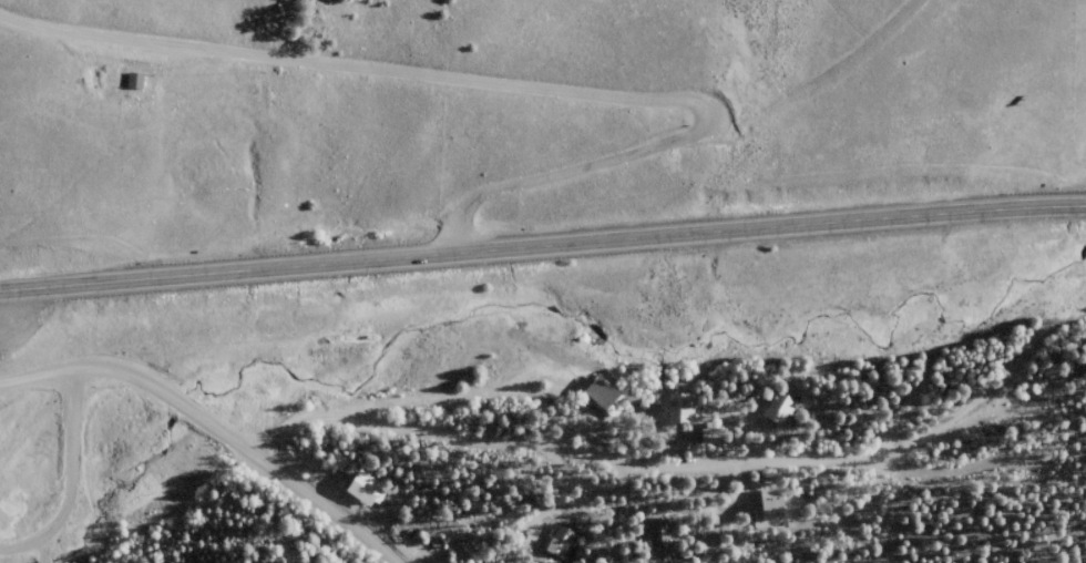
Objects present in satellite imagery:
building: (135, 80)
road: (555, 80)
road: (542, 247)
building: (606, 396)
building: (780, 405)
building: (682, 407)
road: (206, 421)
building: (714, 434)
building: (366, 488)
building: (770, 508)
building: (660, 532)
building: (561, 539)

